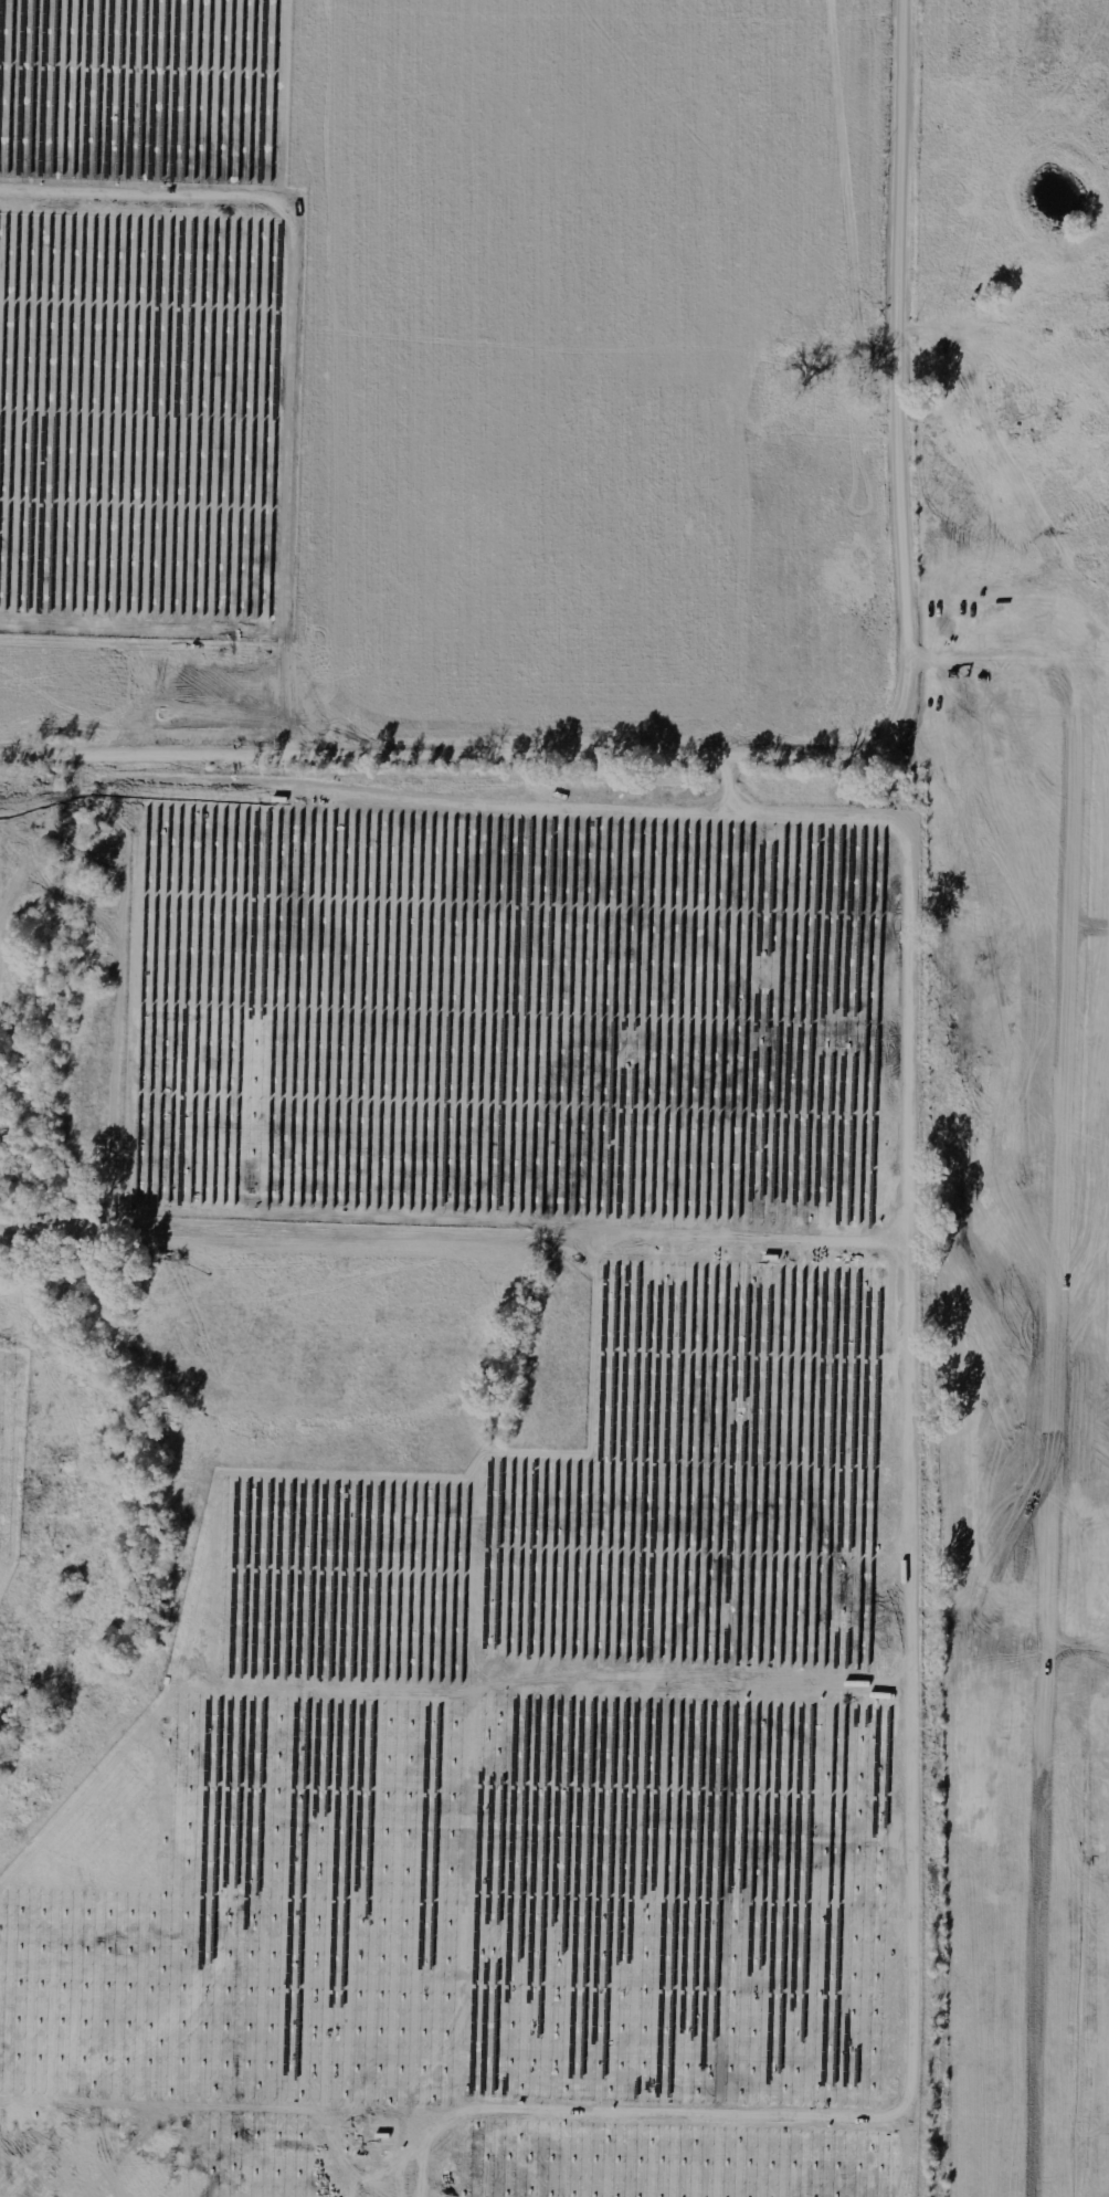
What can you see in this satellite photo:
solar farm: (147, 317)
road: (821, 758)
solar farm: (12, 1458)
solar farm: (522, 1531)

